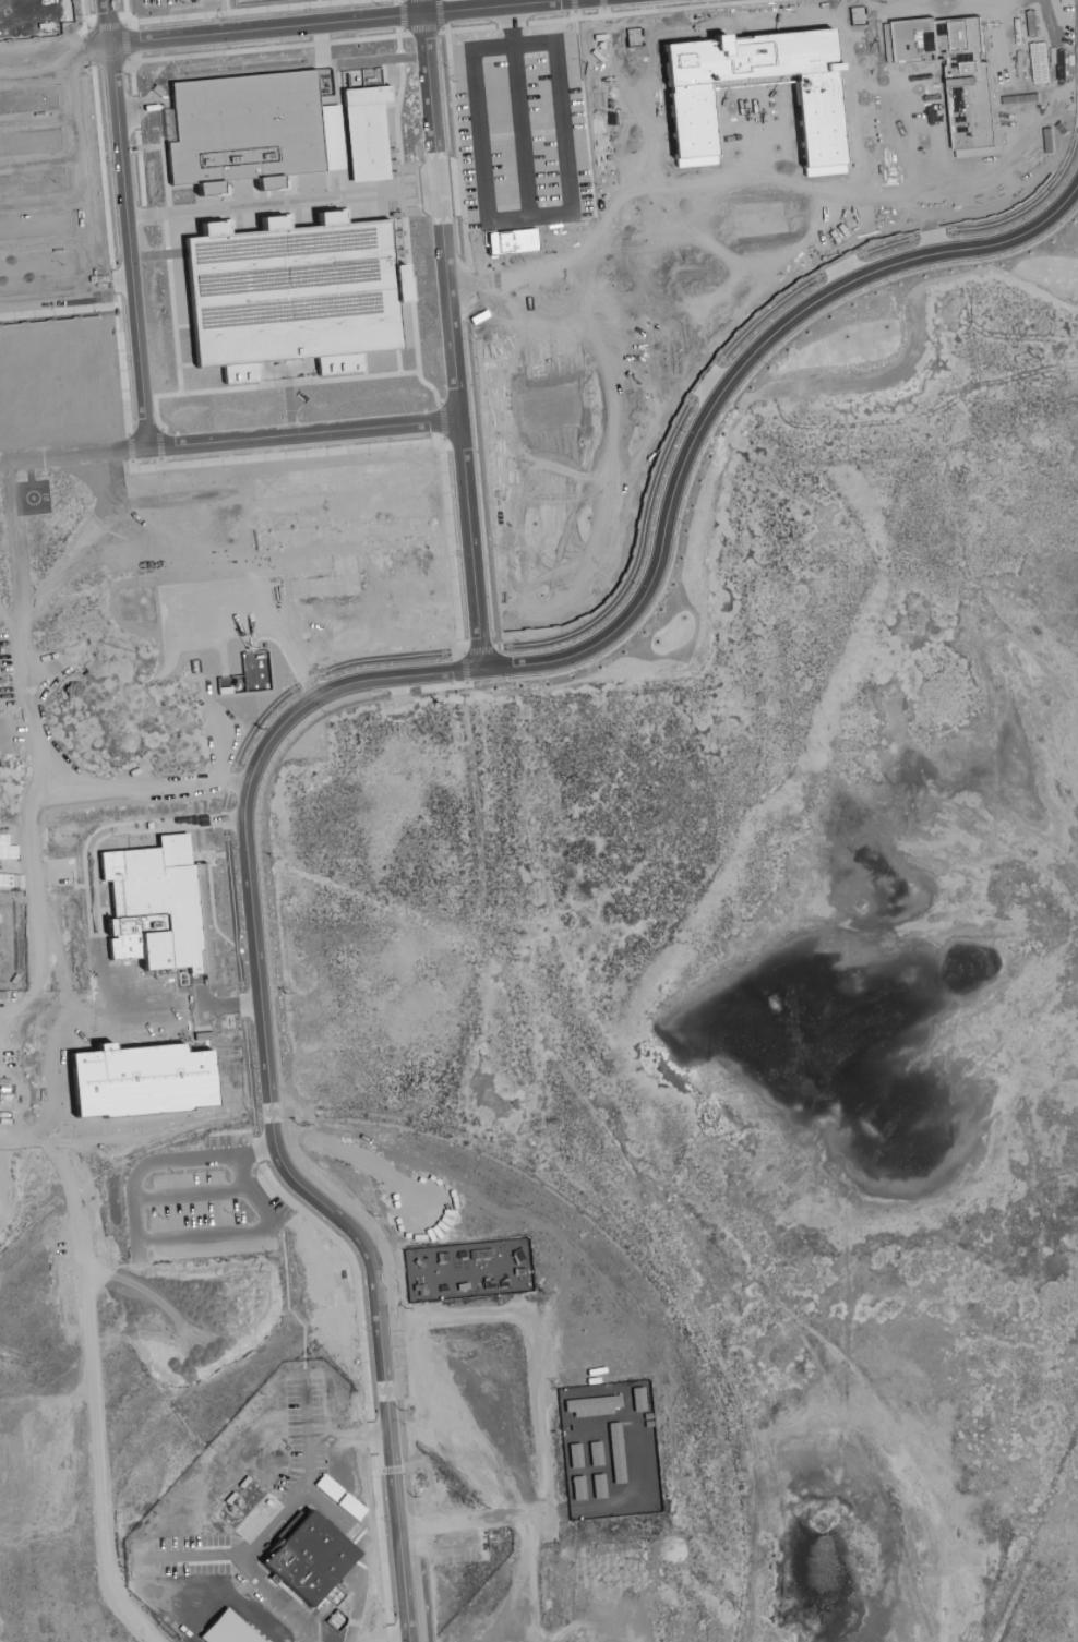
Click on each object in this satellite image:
road: (482, 7)
road: (268, 27)
road: (444, 211)
road: (119, 221)
road: (231, 441)
road: (664, 516)
road: (474, 543)
road: (188, 632)
road: (240, 801)
building: (154, 902)
road: (47, 1060)
road: (132, 1239)
road: (384, 1380)
road: (307, 1424)
road: (438, 1522)
road: (1032, 1536)
road: (368, 1553)
road: (194, 1556)
building: (309, 1560)
road: (247, 1567)
building: (228, 1630)

